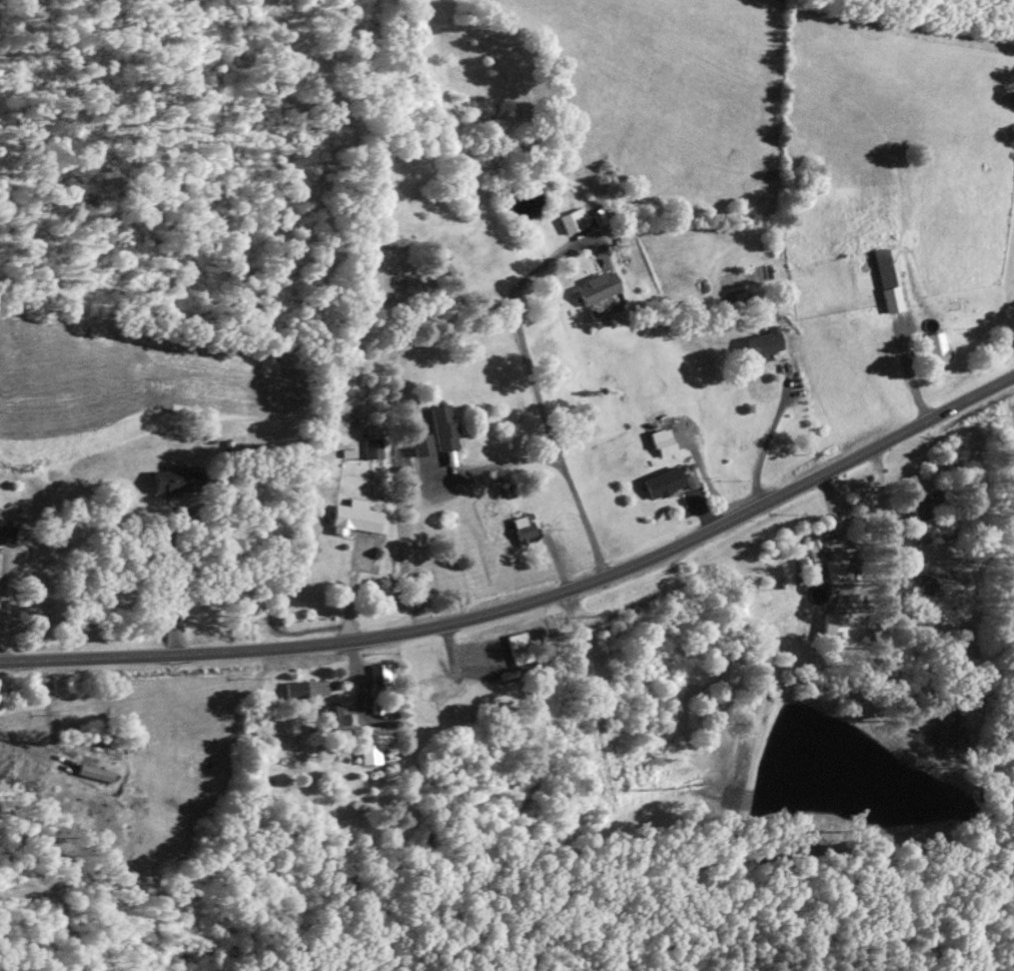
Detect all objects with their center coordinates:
building: (574, 222)
building: (886, 282)
building: (598, 290)
building: (763, 345)
building: (937, 350)
building: (443, 429)
building: (663, 443)
building: (421, 445)
building: (374, 449)
building: (176, 482)
building: (691, 482)
building: (663, 483)
building: (922, 508)
road: (408, 517)
building: (358, 519)
building: (523, 530)
building: (6, 534)
building: (823, 558)
road: (529, 602)
building: (832, 629)
building: (518, 649)
building: (293, 690)
building: (329, 718)
building: (365, 746)

